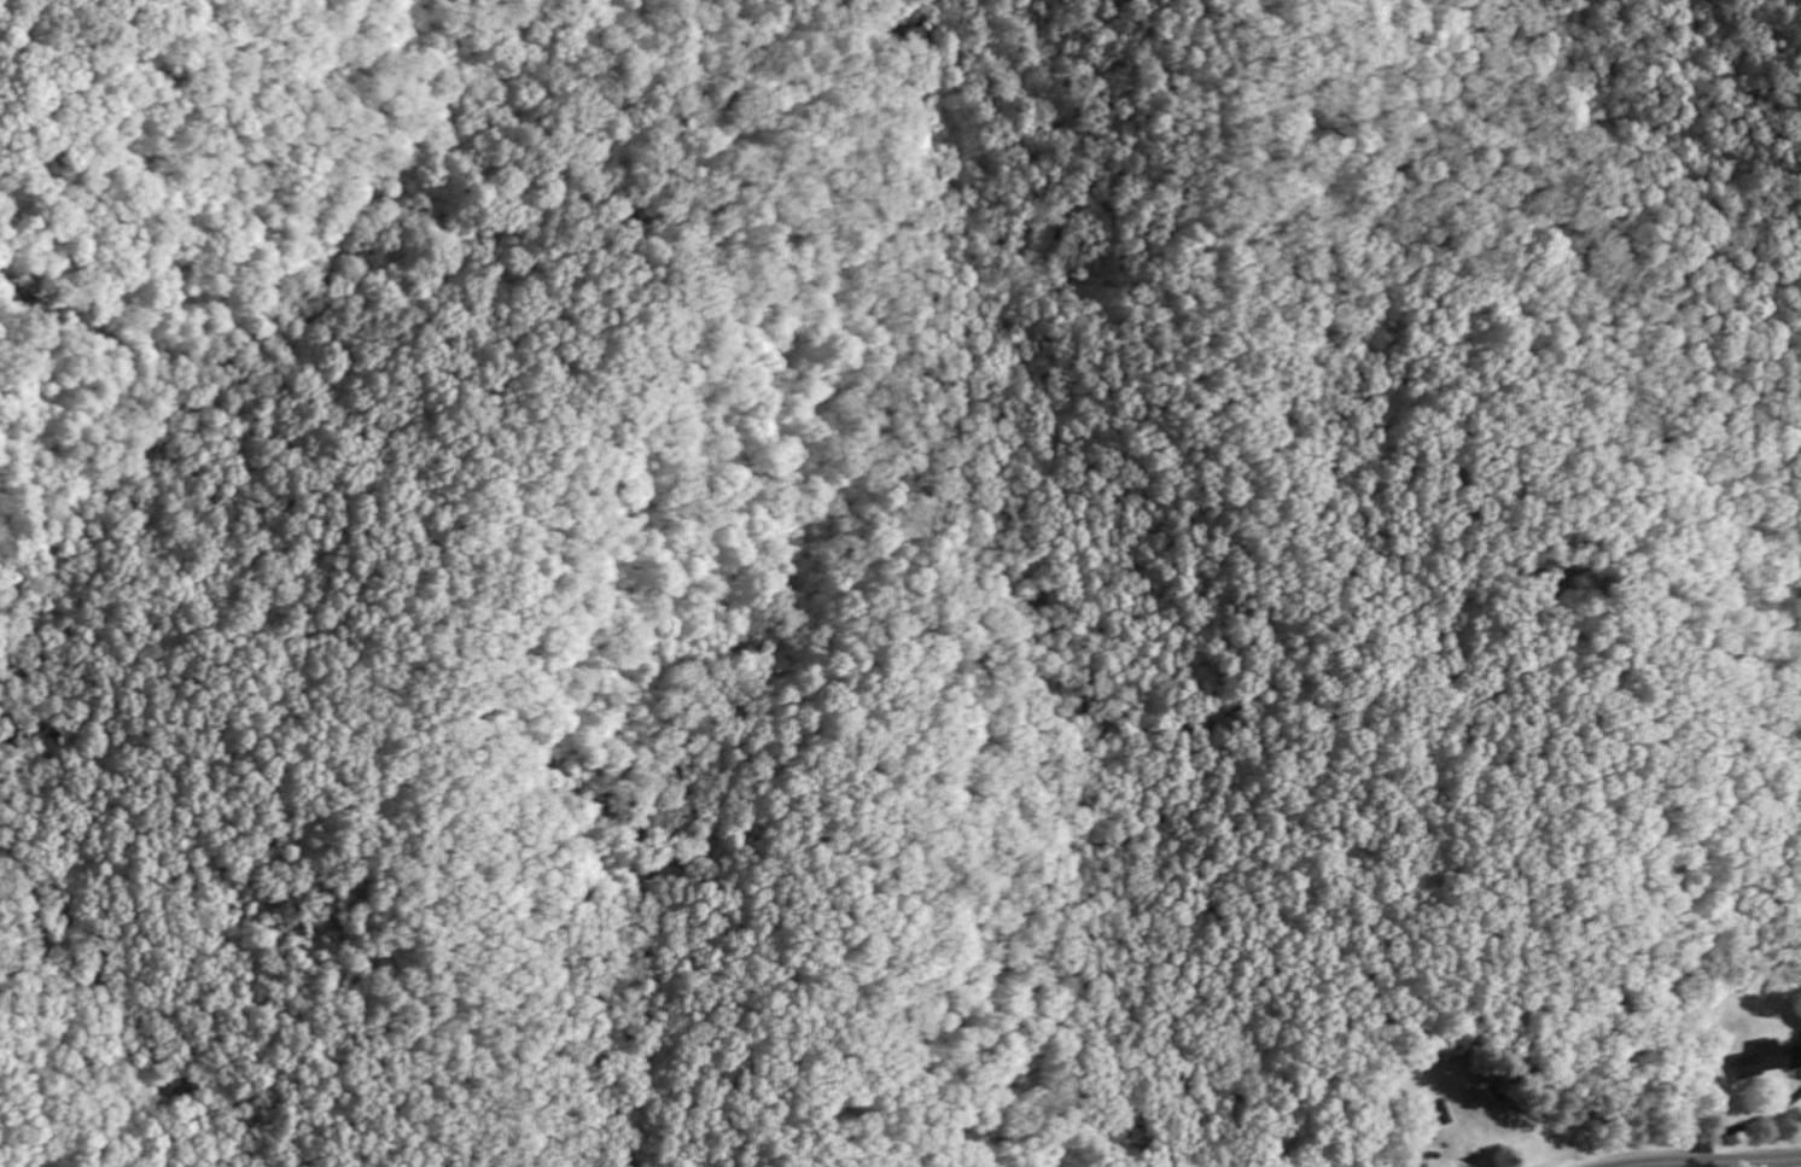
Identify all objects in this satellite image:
building: (1767, 1061)
road: (1712, 1162)

